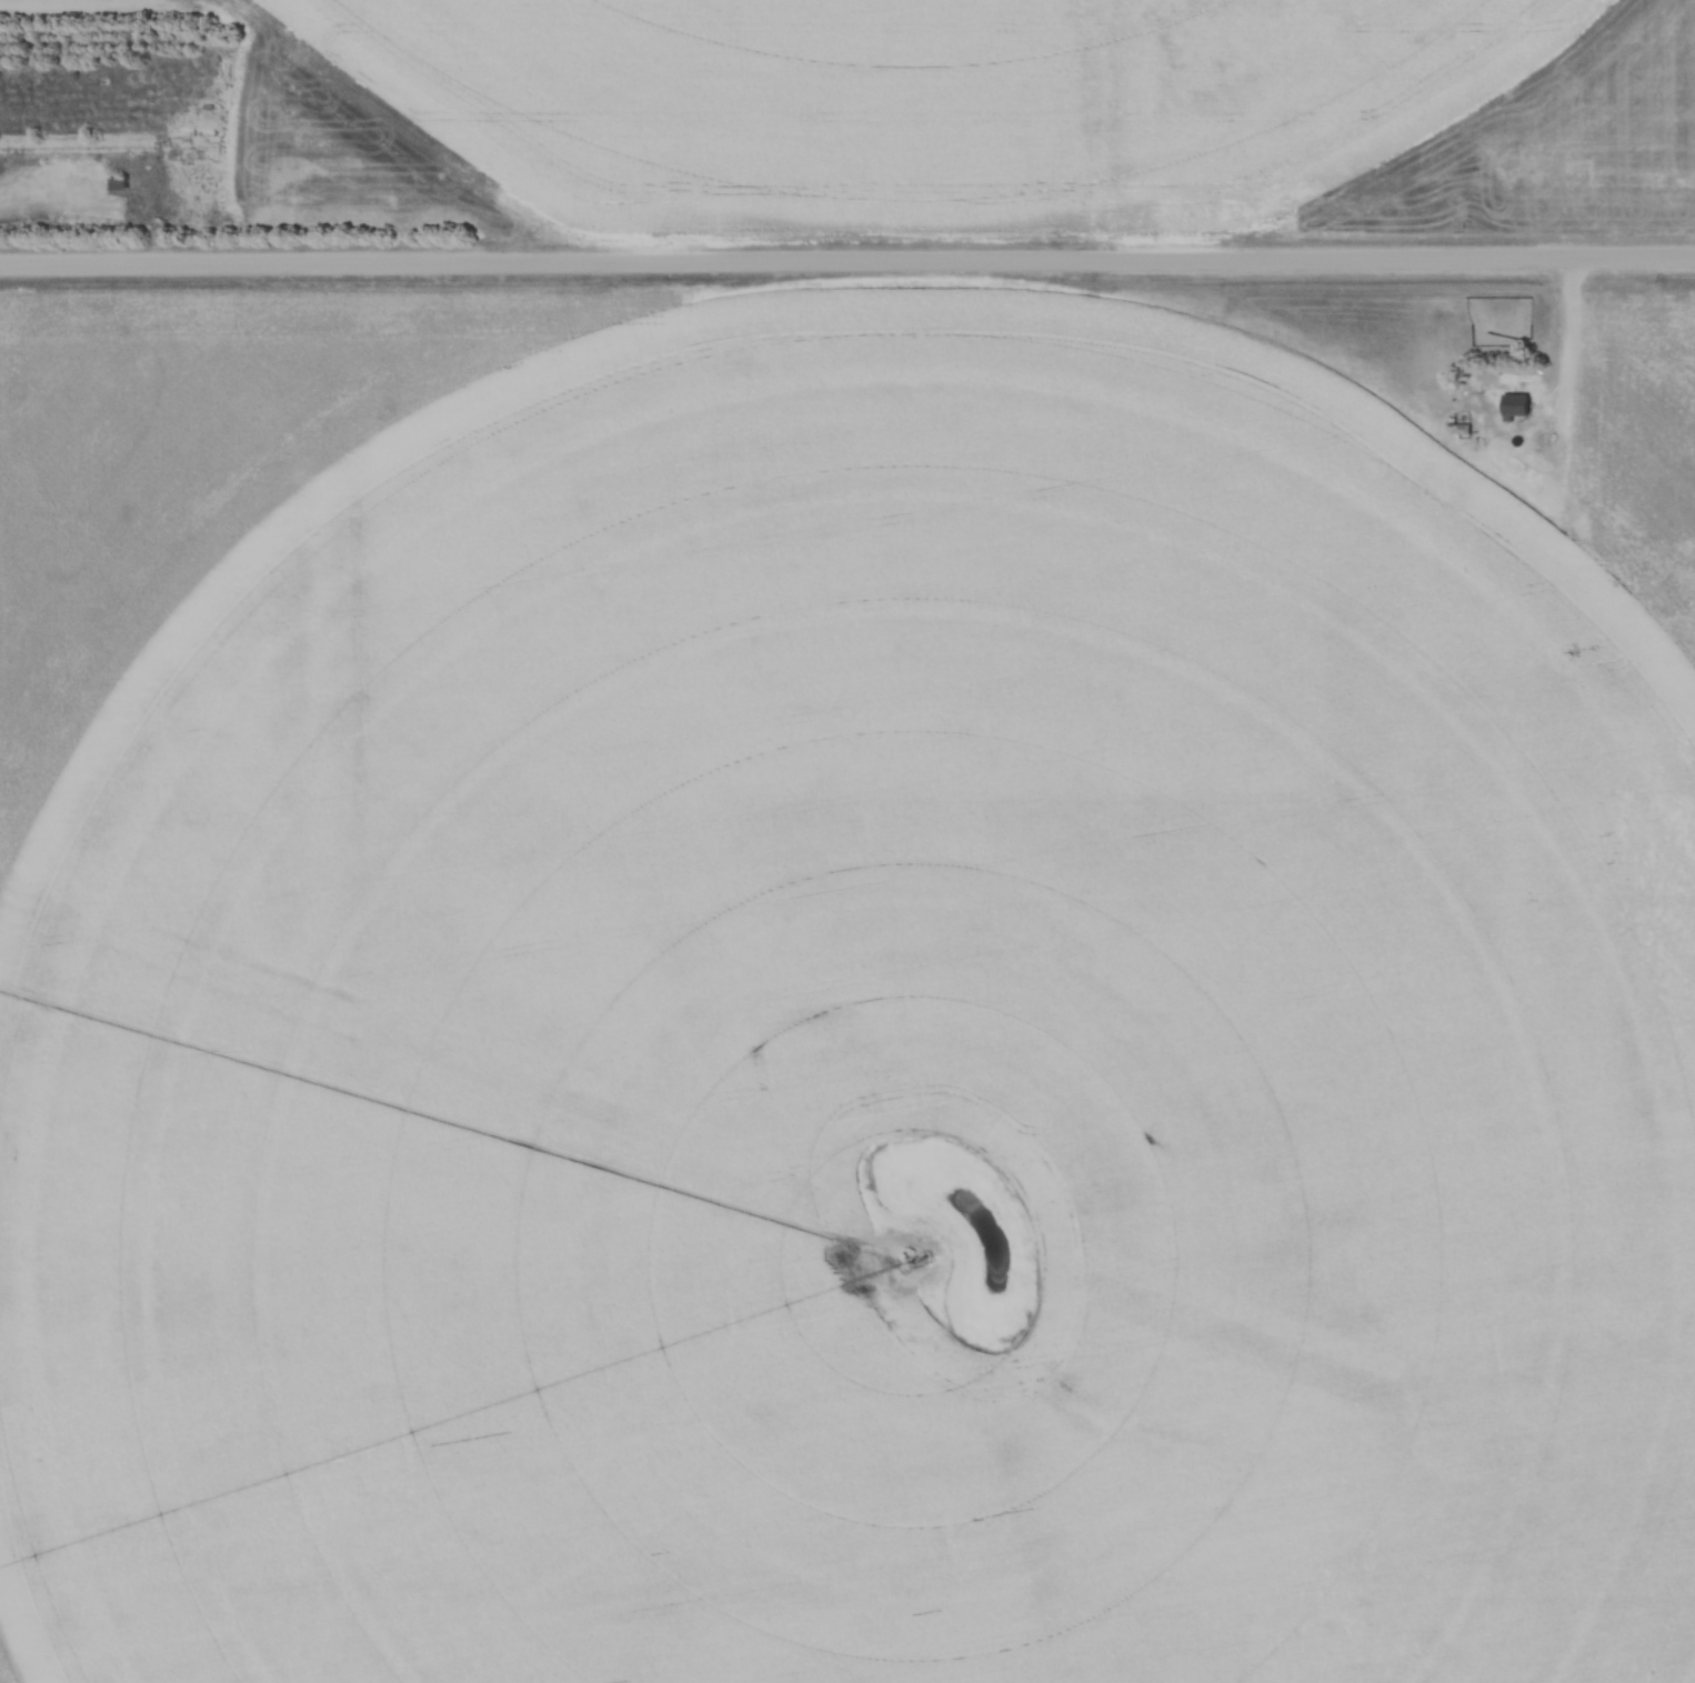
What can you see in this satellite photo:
road: (1100, 130)
building: (118, 183)
road: (847, 262)
road: (1565, 361)
building: (1518, 403)

